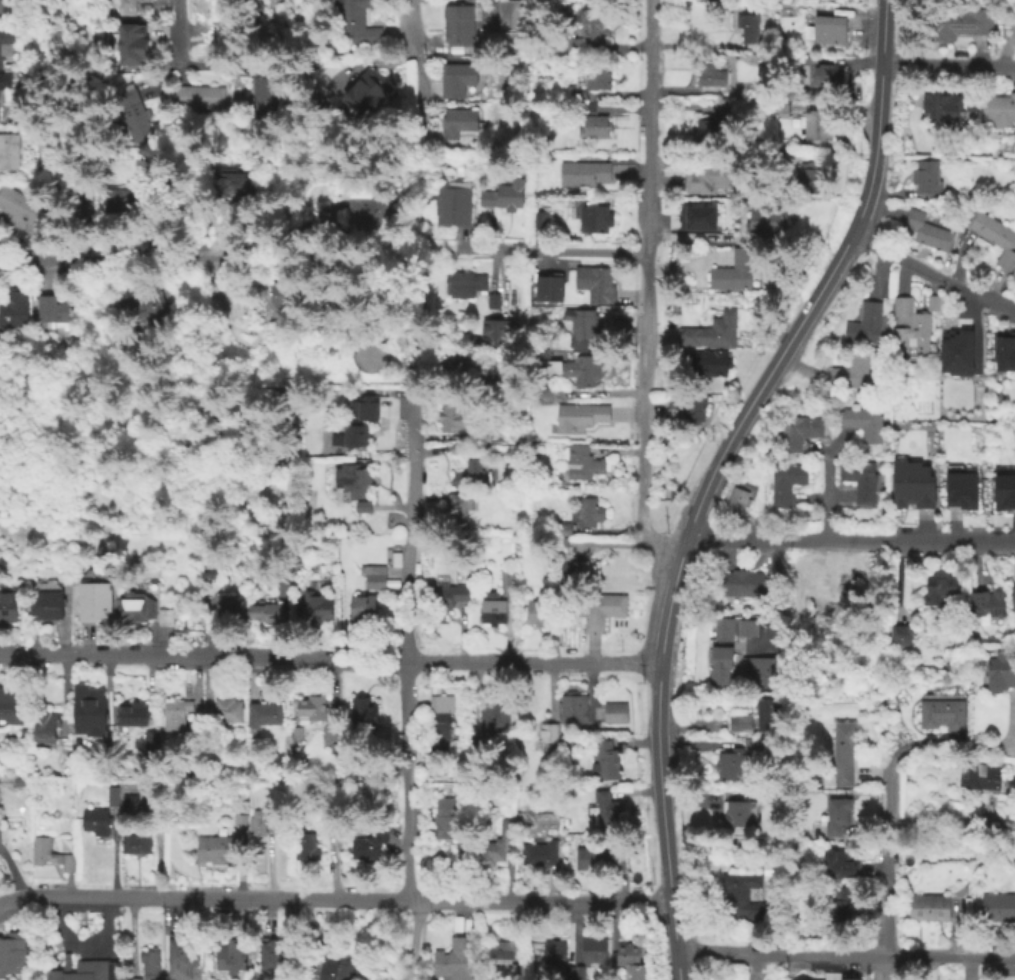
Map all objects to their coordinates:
building: (54, 1)
building: (725, 3)
building: (206, 5)
building: (1, 8)
building: (127, 9)
building: (510, 16)
building: (961, 21)
building: (362, 23)
road: (179, 26)
building: (459, 27)
building: (825, 28)
building: (749, 31)
building: (588, 33)
building: (136, 42)
building: (6, 43)
building: (204, 47)
road: (948, 61)
building: (819, 72)
building: (711, 74)
road: (409, 75)
building: (458, 80)
building: (598, 82)
building: (4, 89)
building: (261, 90)
building: (367, 93)
building: (789, 95)
building: (578, 96)
building: (198, 99)
building: (970, 104)
building: (941, 106)
building: (998, 108)
building: (781, 109)
building: (971, 115)
building: (134, 117)
building: (817, 123)
building: (460, 124)
building: (594, 127)
building: (710, 135)
building: (9, 153)
building: (584, 174)
building: (925, 175)
building: (706, 179)
building: (810, 179)
building: (236, 182)
building: (506, 197)
building: (123, 203)
building: (455, 207)
building: (17, 211)
building: (80, 216)
building: (204, 216)
building: (368, 216)
building: (698, 217)
building: (593, 220)
building: (766, 222)
building: (539, 223)
building: (927, 230)
building: (993, 235)
road: (431, 249)
road: (548, 250)
road: (412, 256)
road: (156, 257)
building: (734, 274)
road: (929, 278)
building: (595, 283)
building: (465, 287)
building: (549, 288)
road: (645, 288)
building: (276, 294)
building: (494, 302)
building: (140, 303)
building: (15, 307)
building: (51, 313)
building: (865, 322)
building: (912, 323)
building: (585, 327)
building: (713, 330)
building: (498, 331)
building: (1004, 350)
building: (955, 351)
building: (370, 356)
building: (707, 361)
building: (452, 368)
building: (849, 370)
building: (583, 376)
building: (371, 396)
building: (690, 407)
building: (364, 408)
building: (582, 417)
building: (450, 421)
building: (862, 421)
building: (798, 430)
building: (356, 434)
building: (479, 435)
road: (729, 439)
road: (819, 445)
building: (584, 464)
building: (858, 477)
building: (468, 478)
building: (358, 480)
building: (785, 481)
road: (827, 483)
building: (912, 483)
building: (960, 488)
building: (1003, 489)
building: (671, 492)
road: (824, 496)
building: (735, 502)
building: (367, 508)
building: (460, 508)
building: (589, 513)
building: (563, 529)
road: (850, 542)
building: (508, 562)
building: (155, 573)
building: (377, 576)
building: (566, 576)
building: (737, 582)
building: (508, 584)
building: (285, 586)
building: (940, 588)
road: (771, 594)
building: (1013, 597)
building: (51, 599)
building: (98, 601)
building: (448, 602)
building: (985, 602)
building: (140, 605)
building: (233, 605)
building: (11, 606)
building: (319, 606)
building: (365, 606)
building: (600, 608)
building: (270, 611)
building: (540, 614)
building: (495, 615)
building: (166, 616)
building: (972, 620)
building: (745, 626)
building: (722, 627)
road: (407, 631)
building: (899, 635)
road: (329, 659)
building: (719, 663)
building: (1000, 669)
building: (761, 672)
building: (572, 706)
building: (314, 707)
building: (12, 708)
building: (90, 711)
building: (613, 711)
building: (136, 713)
building: (226, 713)
building: (941, 713)
building: (266, 714)
building: (366, 714)
building: (178, 716)
building: (768, 717)
building: (495, 719)
building: (739, 723)
building: (50, 725)
building: (196, 726)
building: (442, 727)
building: (549, 732)
building: (299, 733)
building: (333, 735)
building: (156, 742)
road: (967, 743)
building: (756, 745)
building: (477, 748)
building: (842, 752)
building: (604, 760)
building: (729, 765)
building: (979, 774)
building: (0, 781)
building: (23, 782)
building: (113, 797)
building: (131, 803)
building: (603, 808)
building: (737, 811)
building: (449, 812)
building: (837, 815)
building: (99, 822)
building: (240, 823)
building: (259, 824)
building: (334, 828)
building: (136, 844)
building: (371, 844)
building: (499, 845)
building: (306, 847)
building: (215, 850)
building: (541, 855)
building: (50, 856)
building: (598, 857)
building: (839, 862)
road: (887, 862)
building: (767, 868)
road: (13, 873)
building: (739, 894)
road: (20, 899)
road: (357, 899)
building: (837, 902)
building: (917, 906)
building: (937, 906)
building: (988, 906)
building: (1004, 906)
road: (414, 940)
road: (676, 941)
building: (595, 950)
building: (555, 952)
building: (12, 953)
building: (274, 955)
road: (846, 955)
building: (230, 956)
building: (182, 957)
building: (454, 960)
building: (507, 960)
building: (630, 960)
building: (151, 963)
building: (329, 967)
road: (888, 968)
building: (83, 969)
building: (569, 975)
building: (580, 975)
building: (134, 978)
building: (848, 978)

